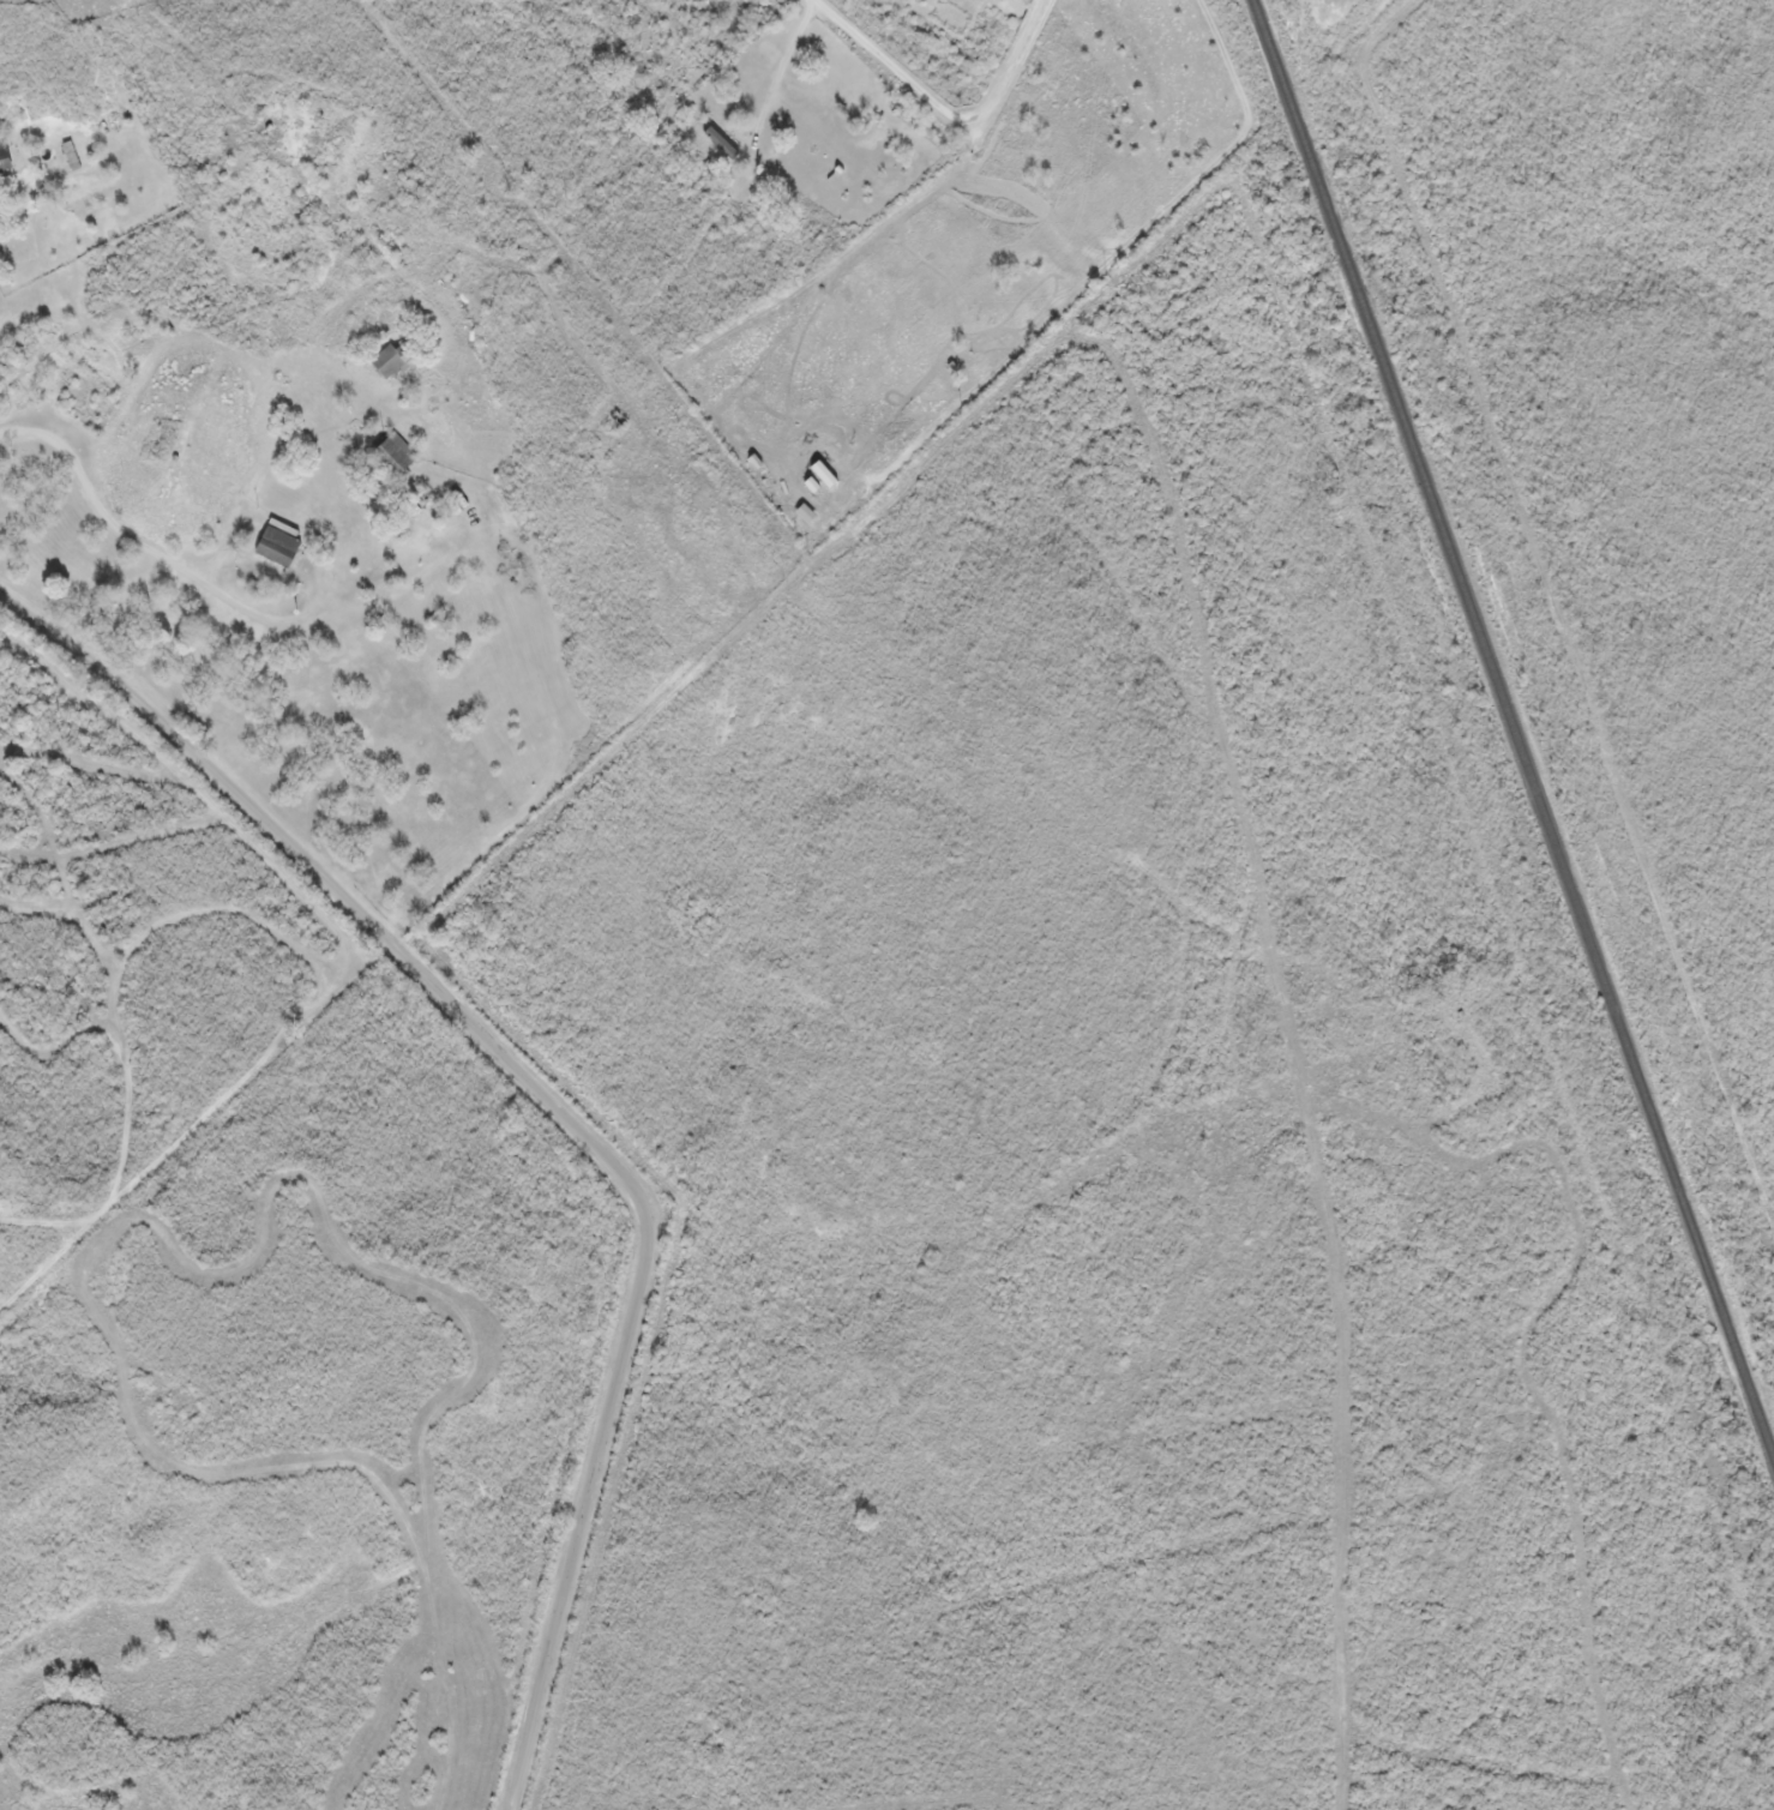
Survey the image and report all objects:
road: (940, 114)
building: (718, 143)
building: (70, 155)
building: (4, 157)
building: (384, 362)
building: (398, 452)
building: (753, 459)
building: (822, 473)
building: (810, 483)
building: (840, 498)
building: (276, 546)
railway: (1514, 727)
road: (555, 1106)

